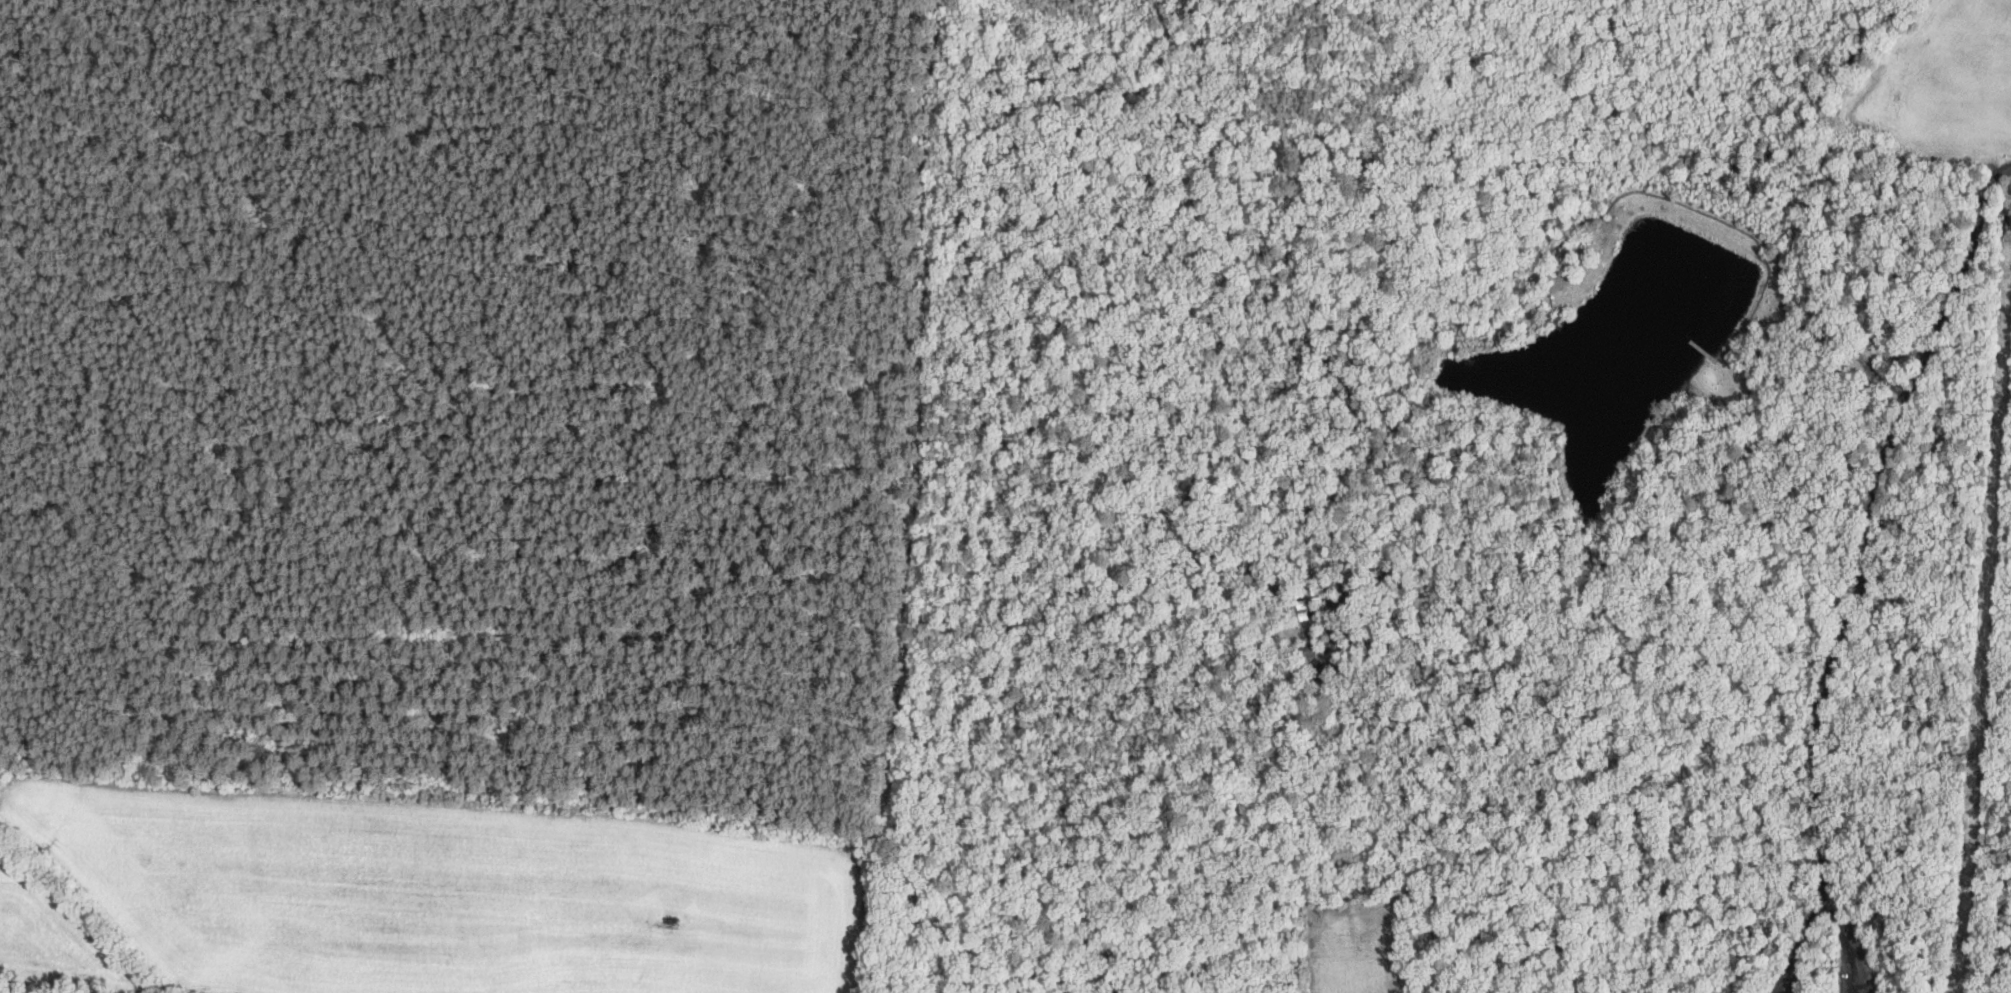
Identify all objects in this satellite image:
road: (1862, 573)
road: (1849, 936)

